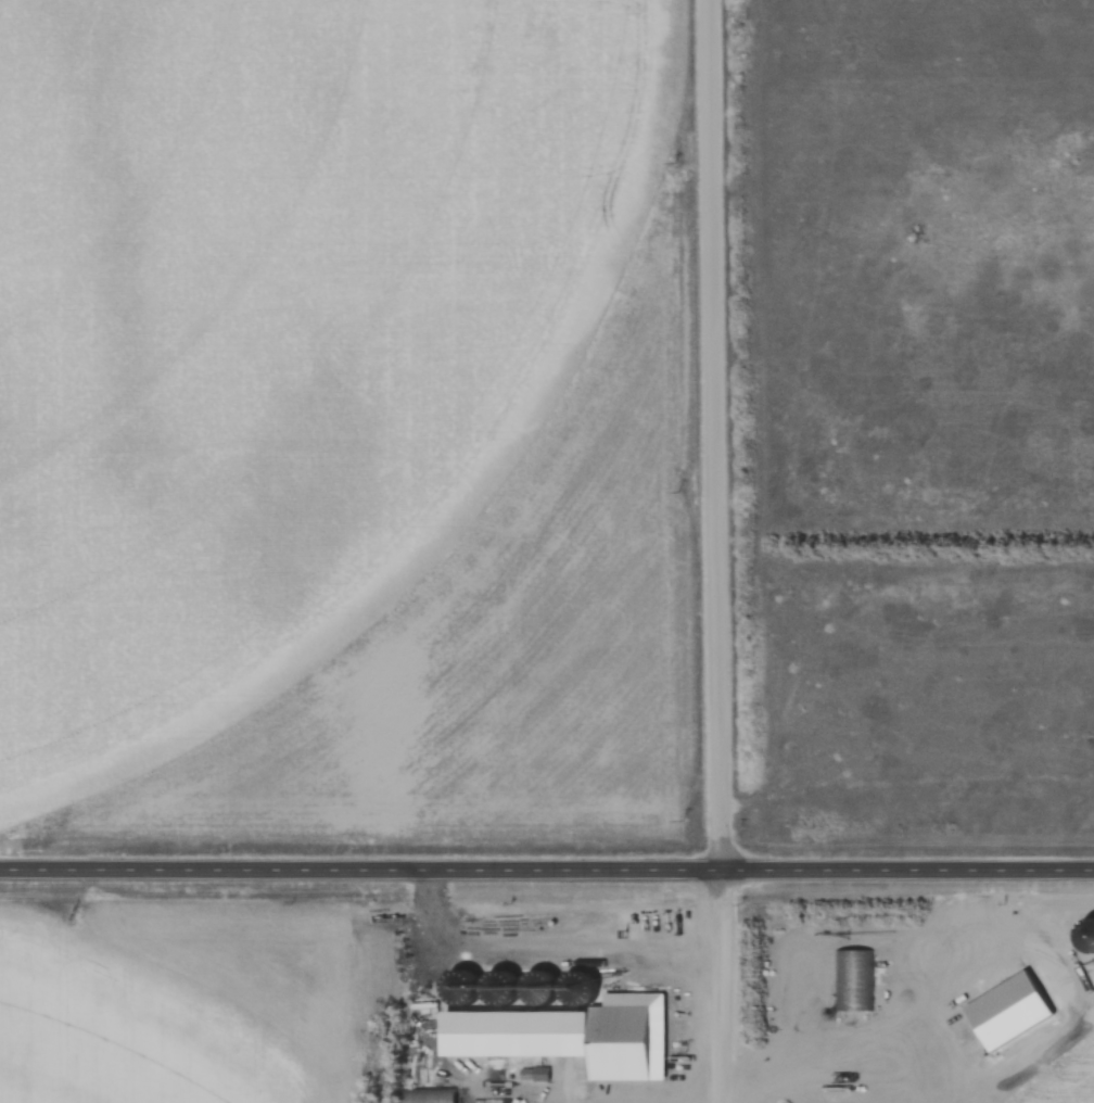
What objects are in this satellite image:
road: (713, 434)
road: (547, 869)
building: (851, 979)
road: (723, 985)
building: (543, 986)
silo: (543, 986)
building: (583, 987)
silo: (583, 987)
building: (561, 989)
building: (422, 1015)
building: (546, 1036)

